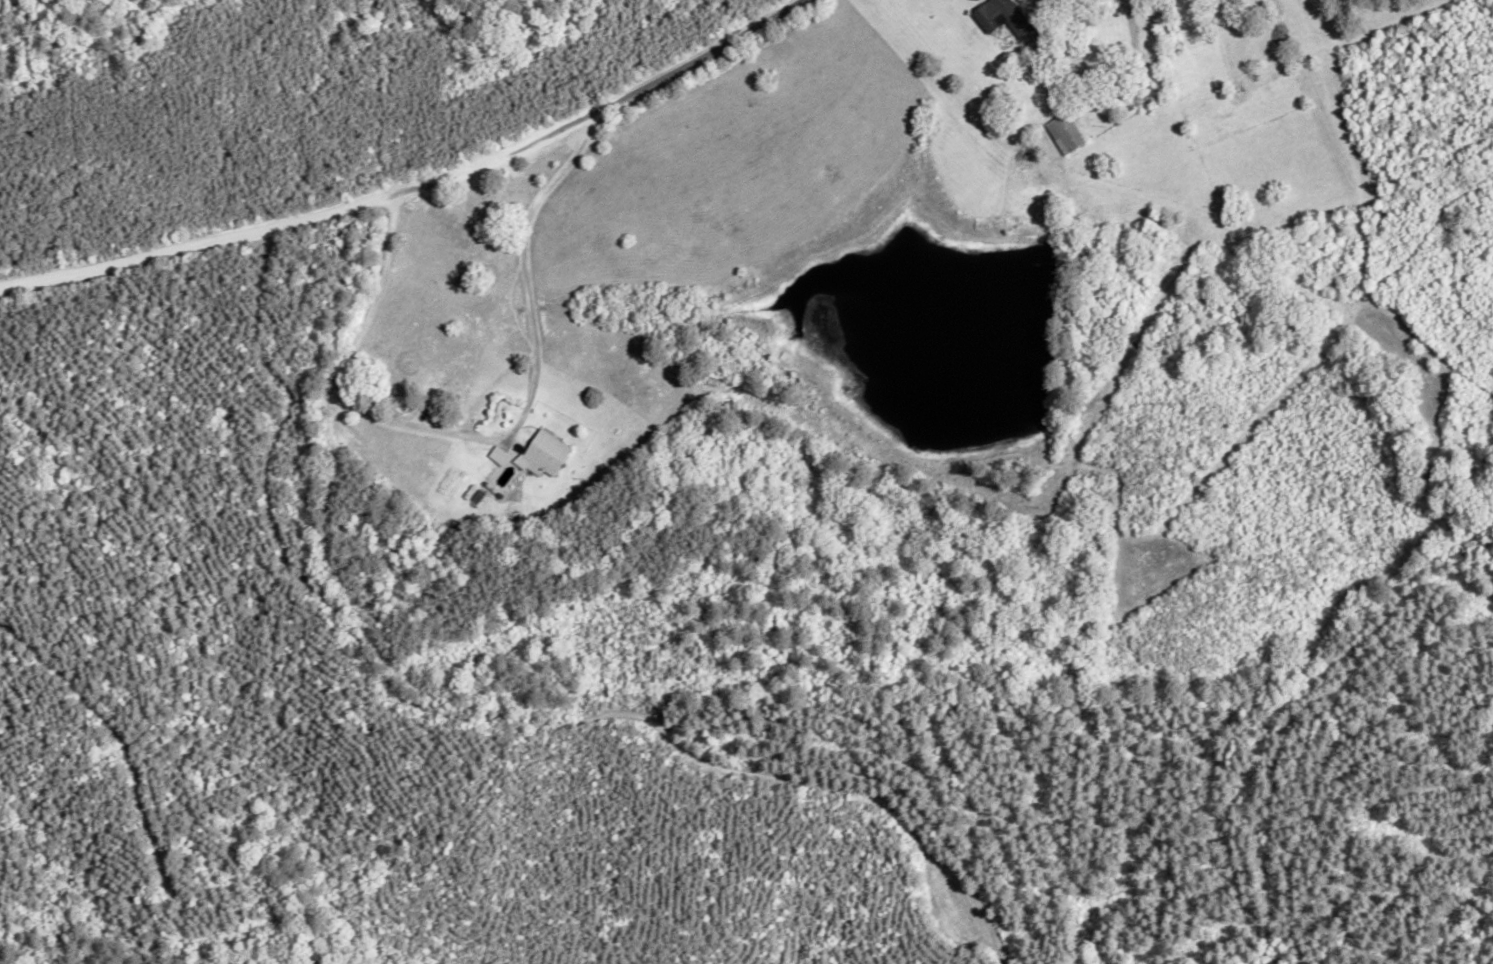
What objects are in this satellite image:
building: (1005, 20)
road: (570, 113)
building: (1067, 138)
road: (1252, 181)
road: (170, 253)
building: (527, 459)

